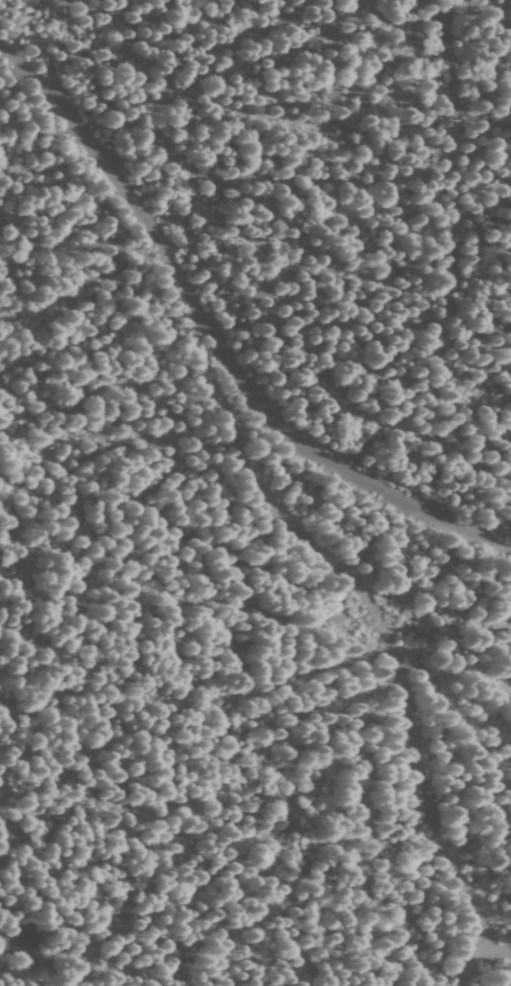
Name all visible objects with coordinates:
road: (96, 152)
road: (212, 334)

